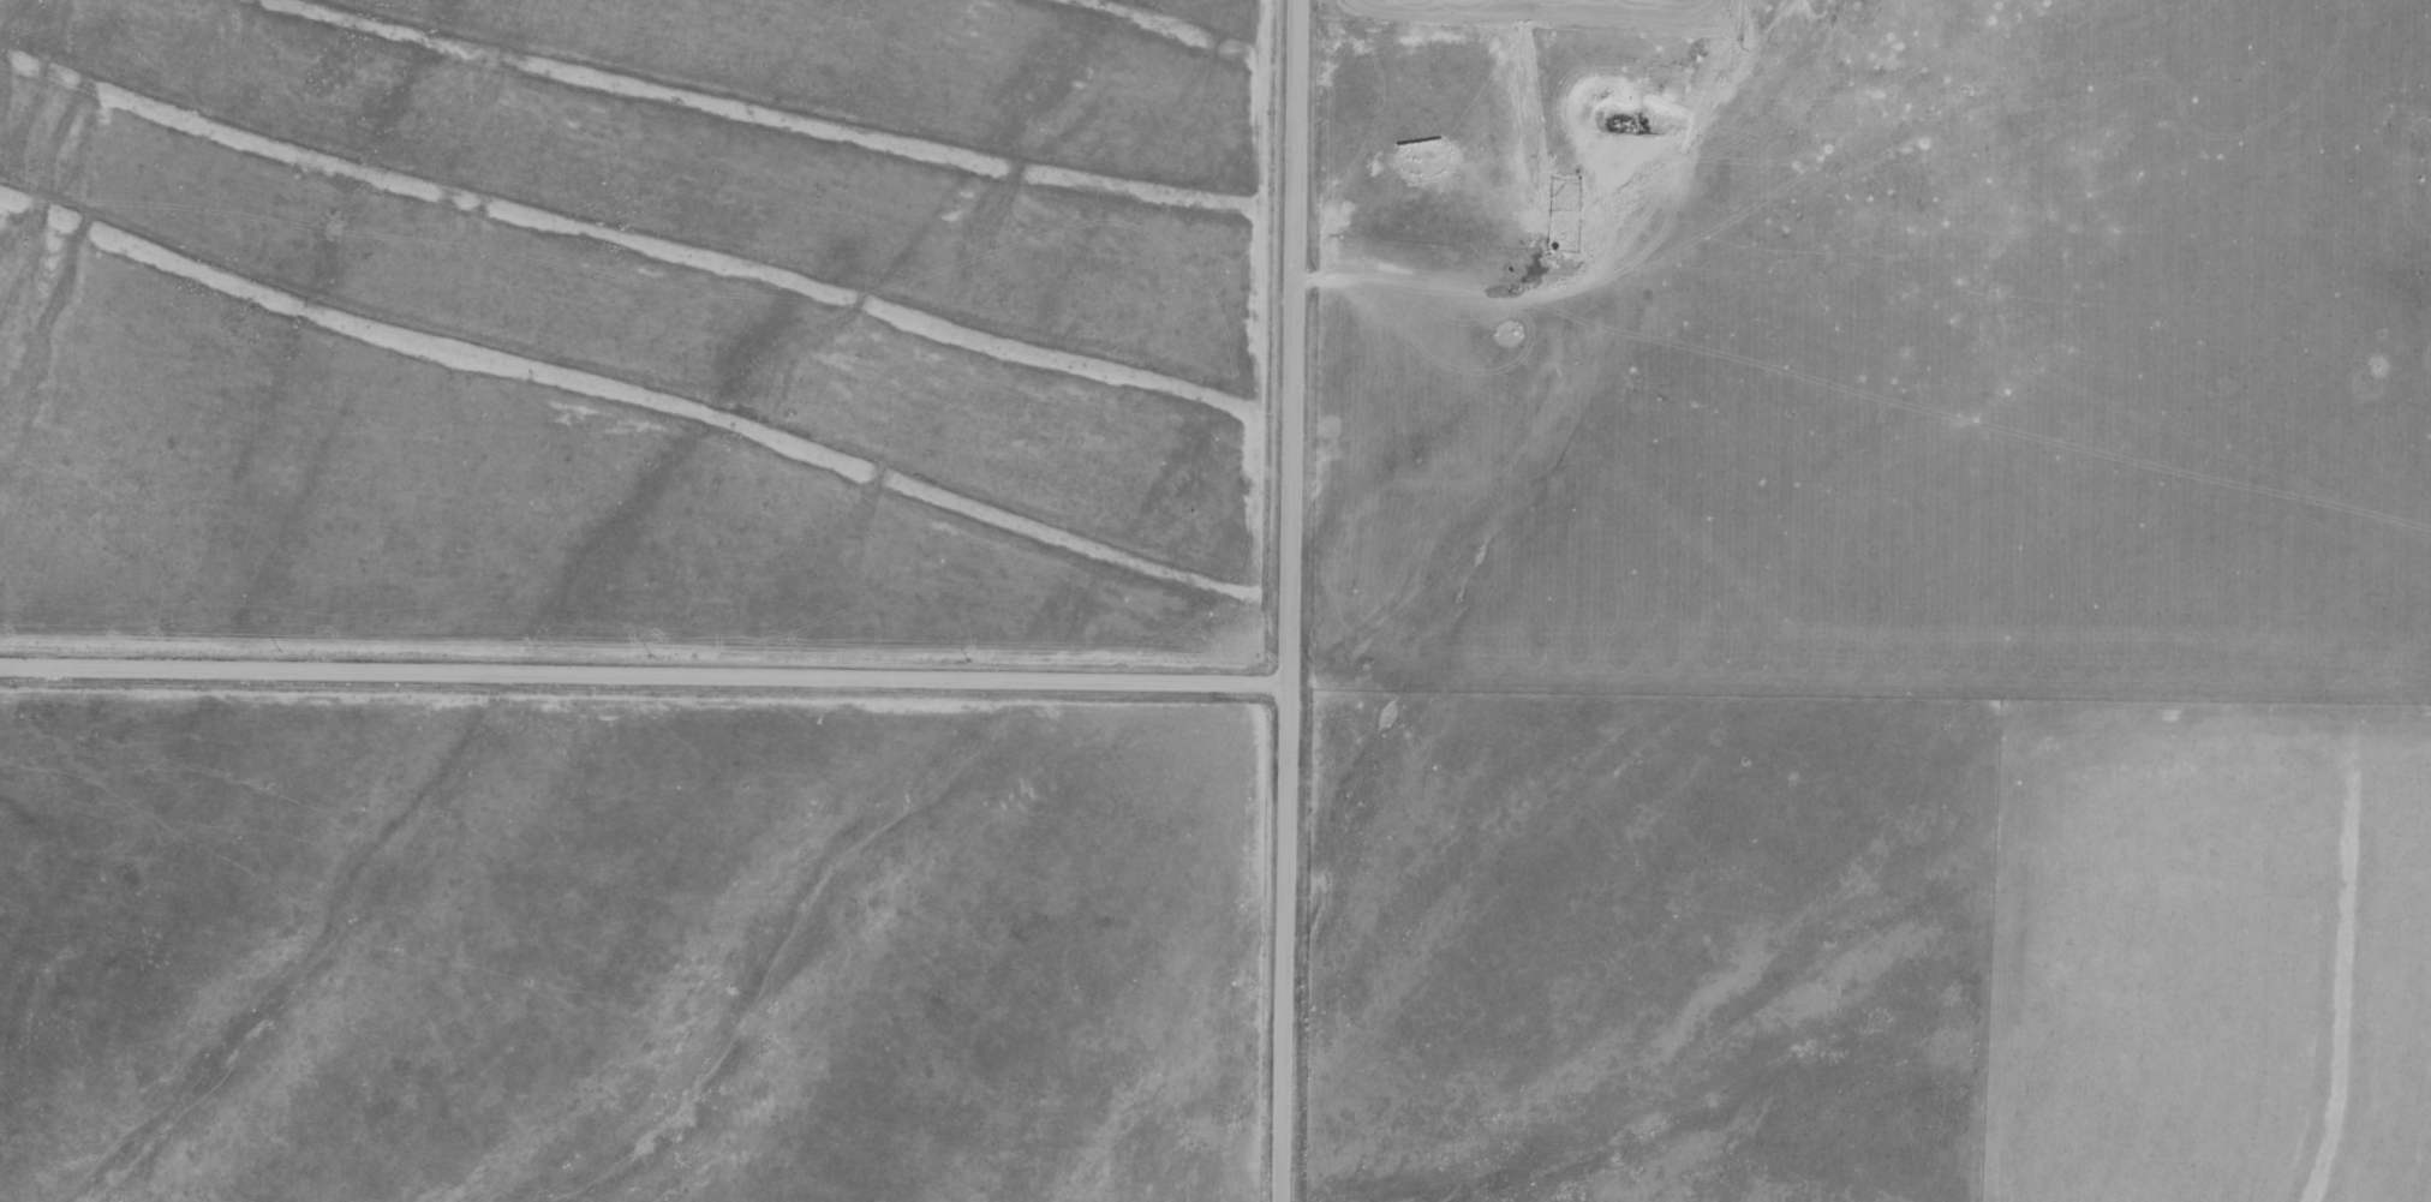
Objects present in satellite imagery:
road: (1288, 600)
road: (644, 675)

